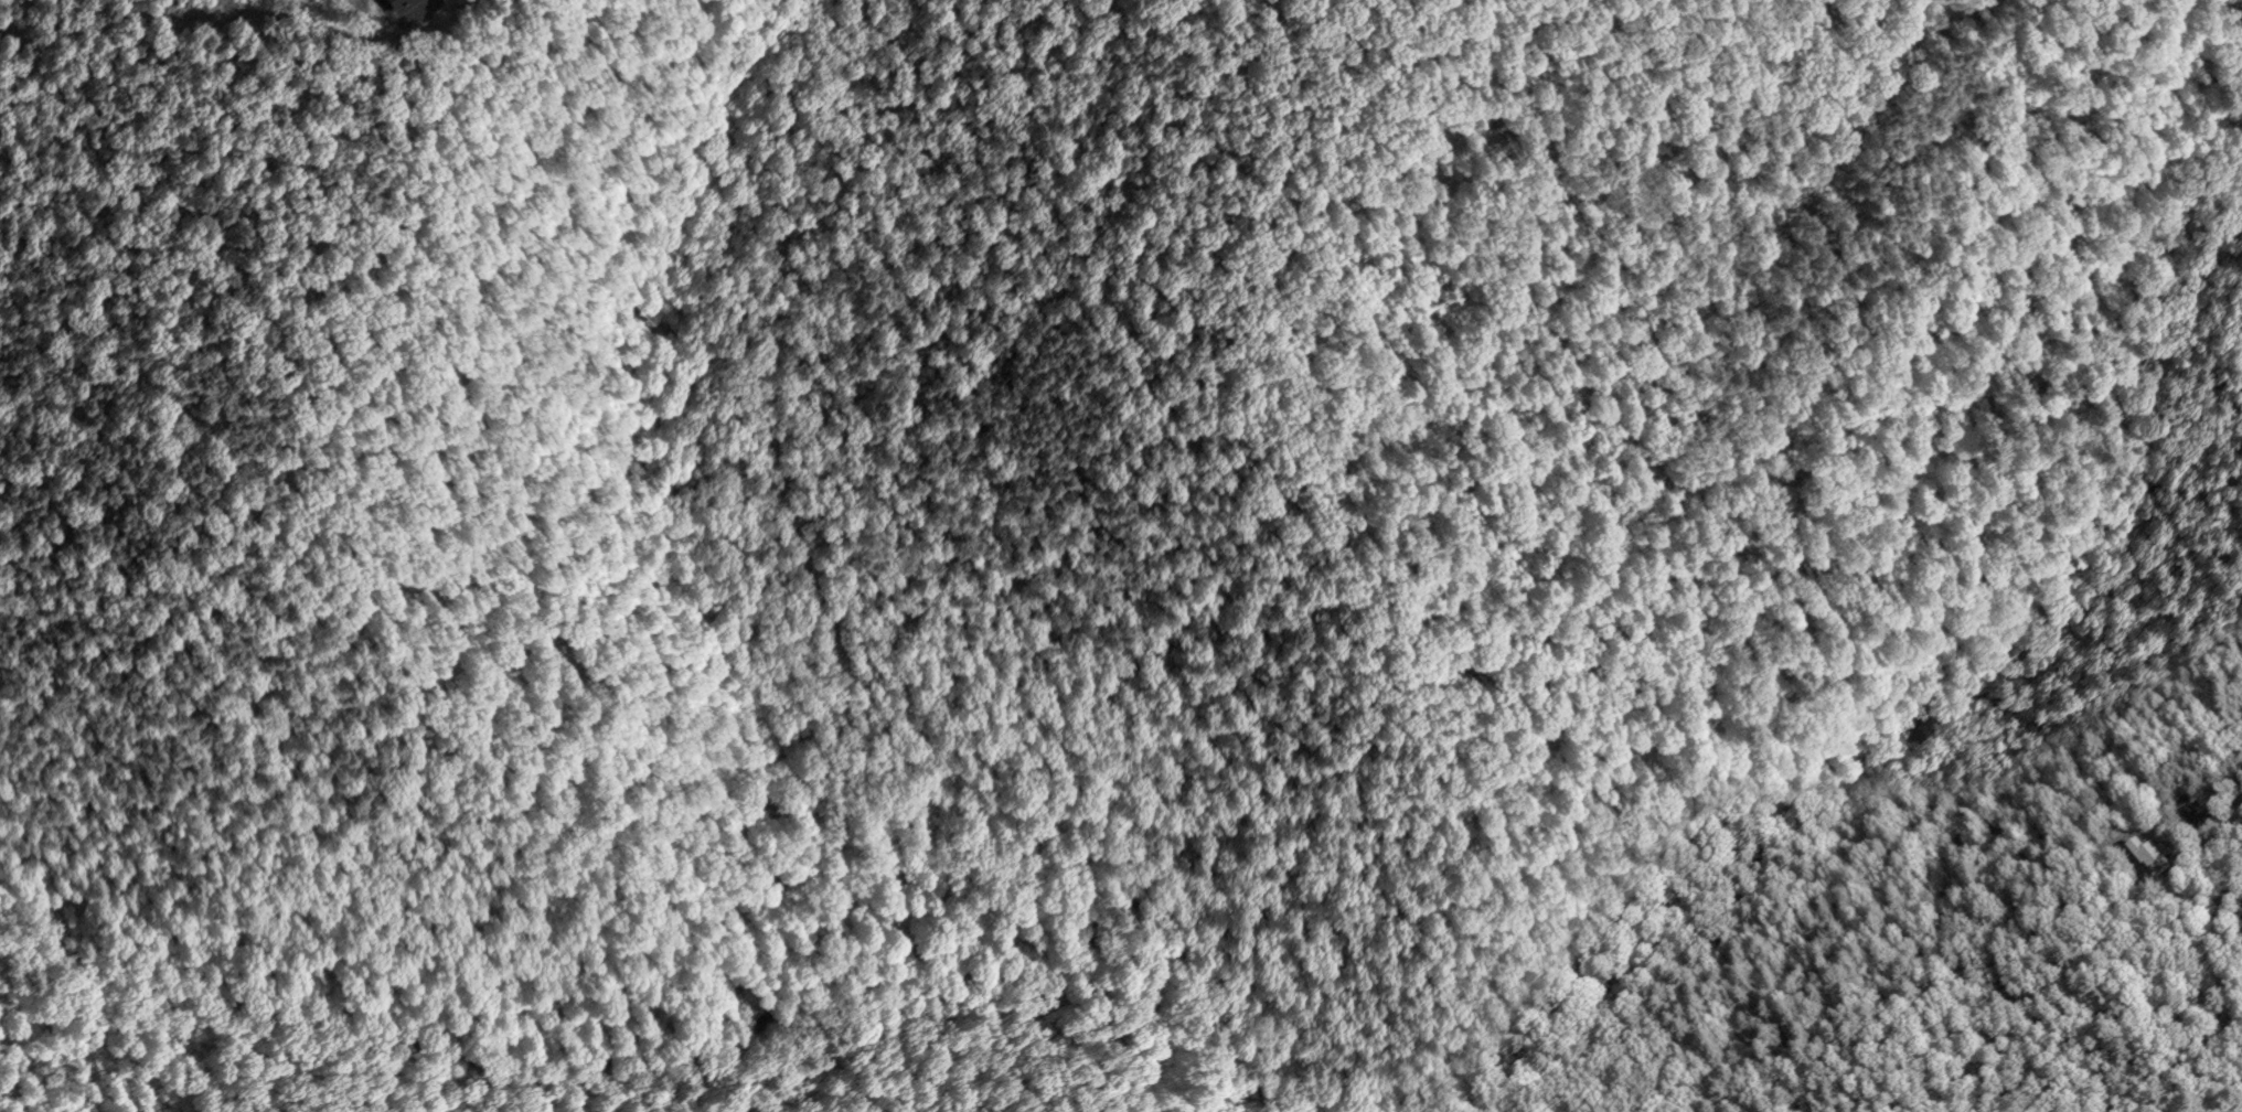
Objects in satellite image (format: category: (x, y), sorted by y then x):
building: (2158, 862)

